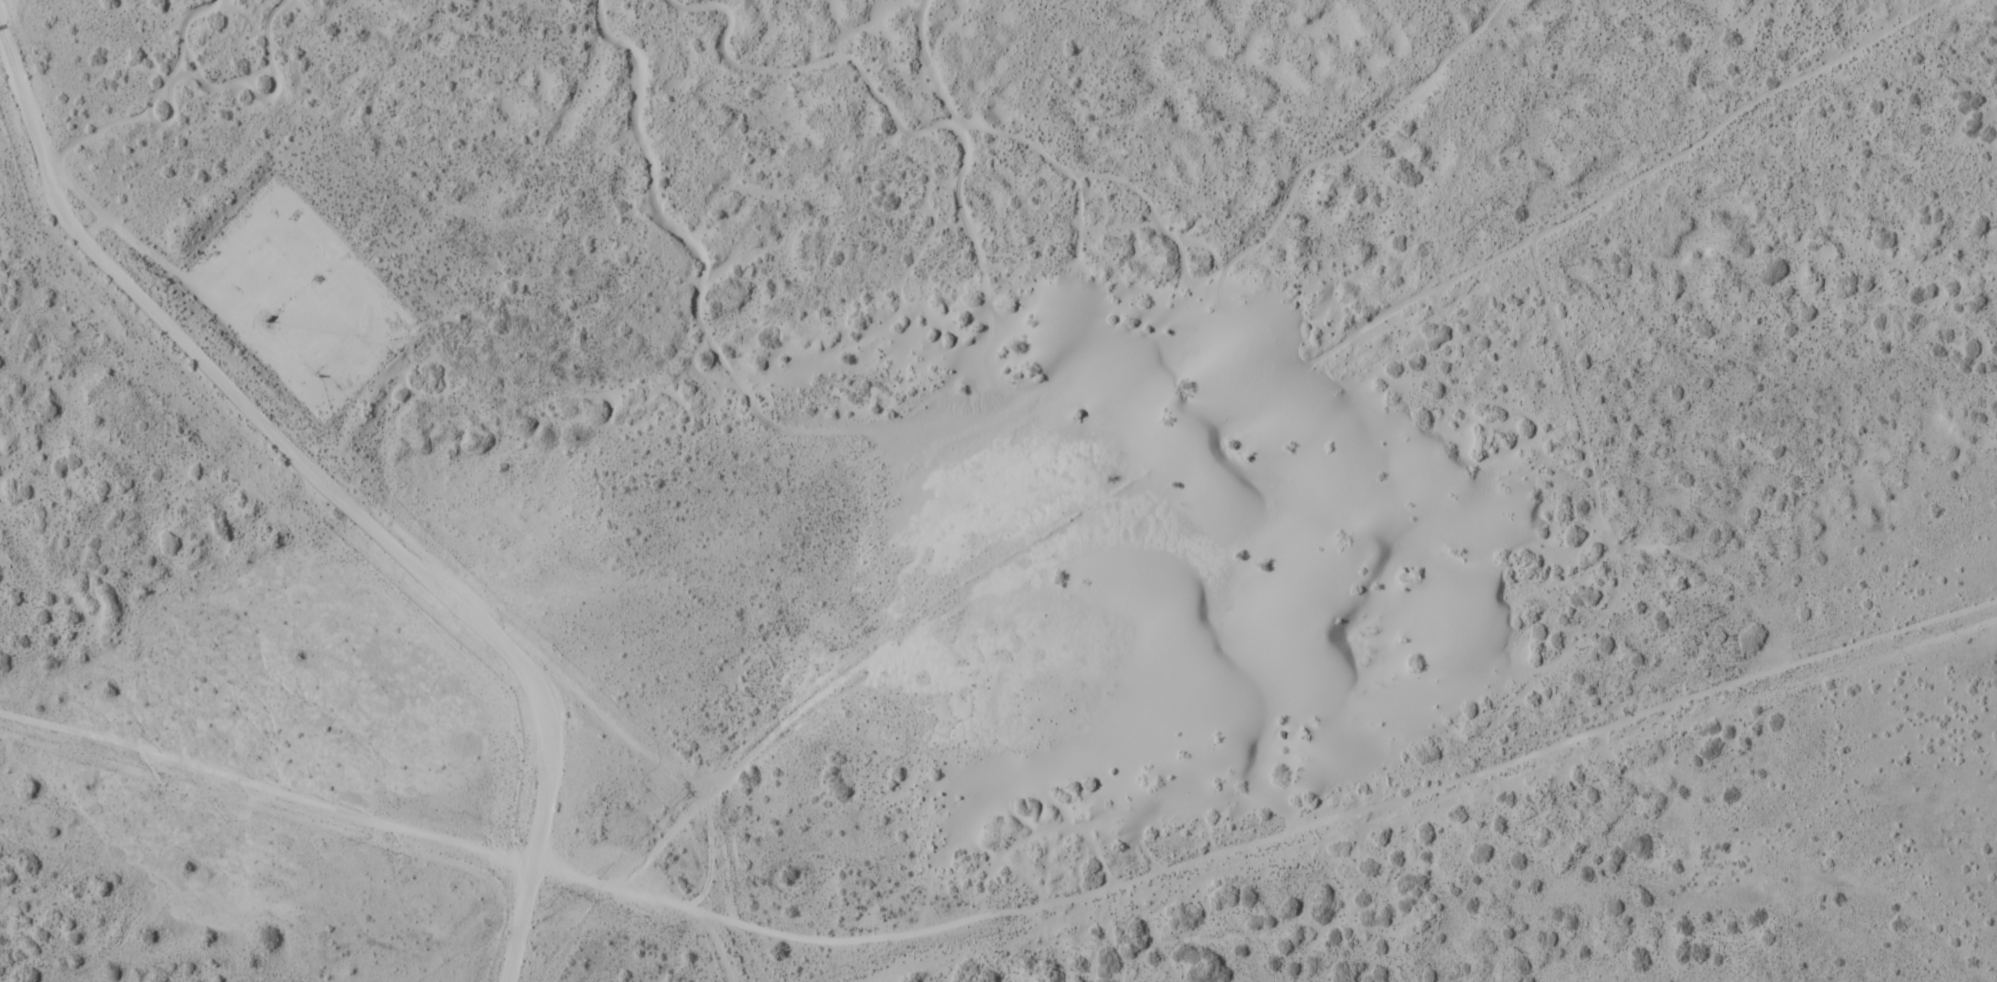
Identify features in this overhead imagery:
road: (97, 207)
road: (428, 836)

